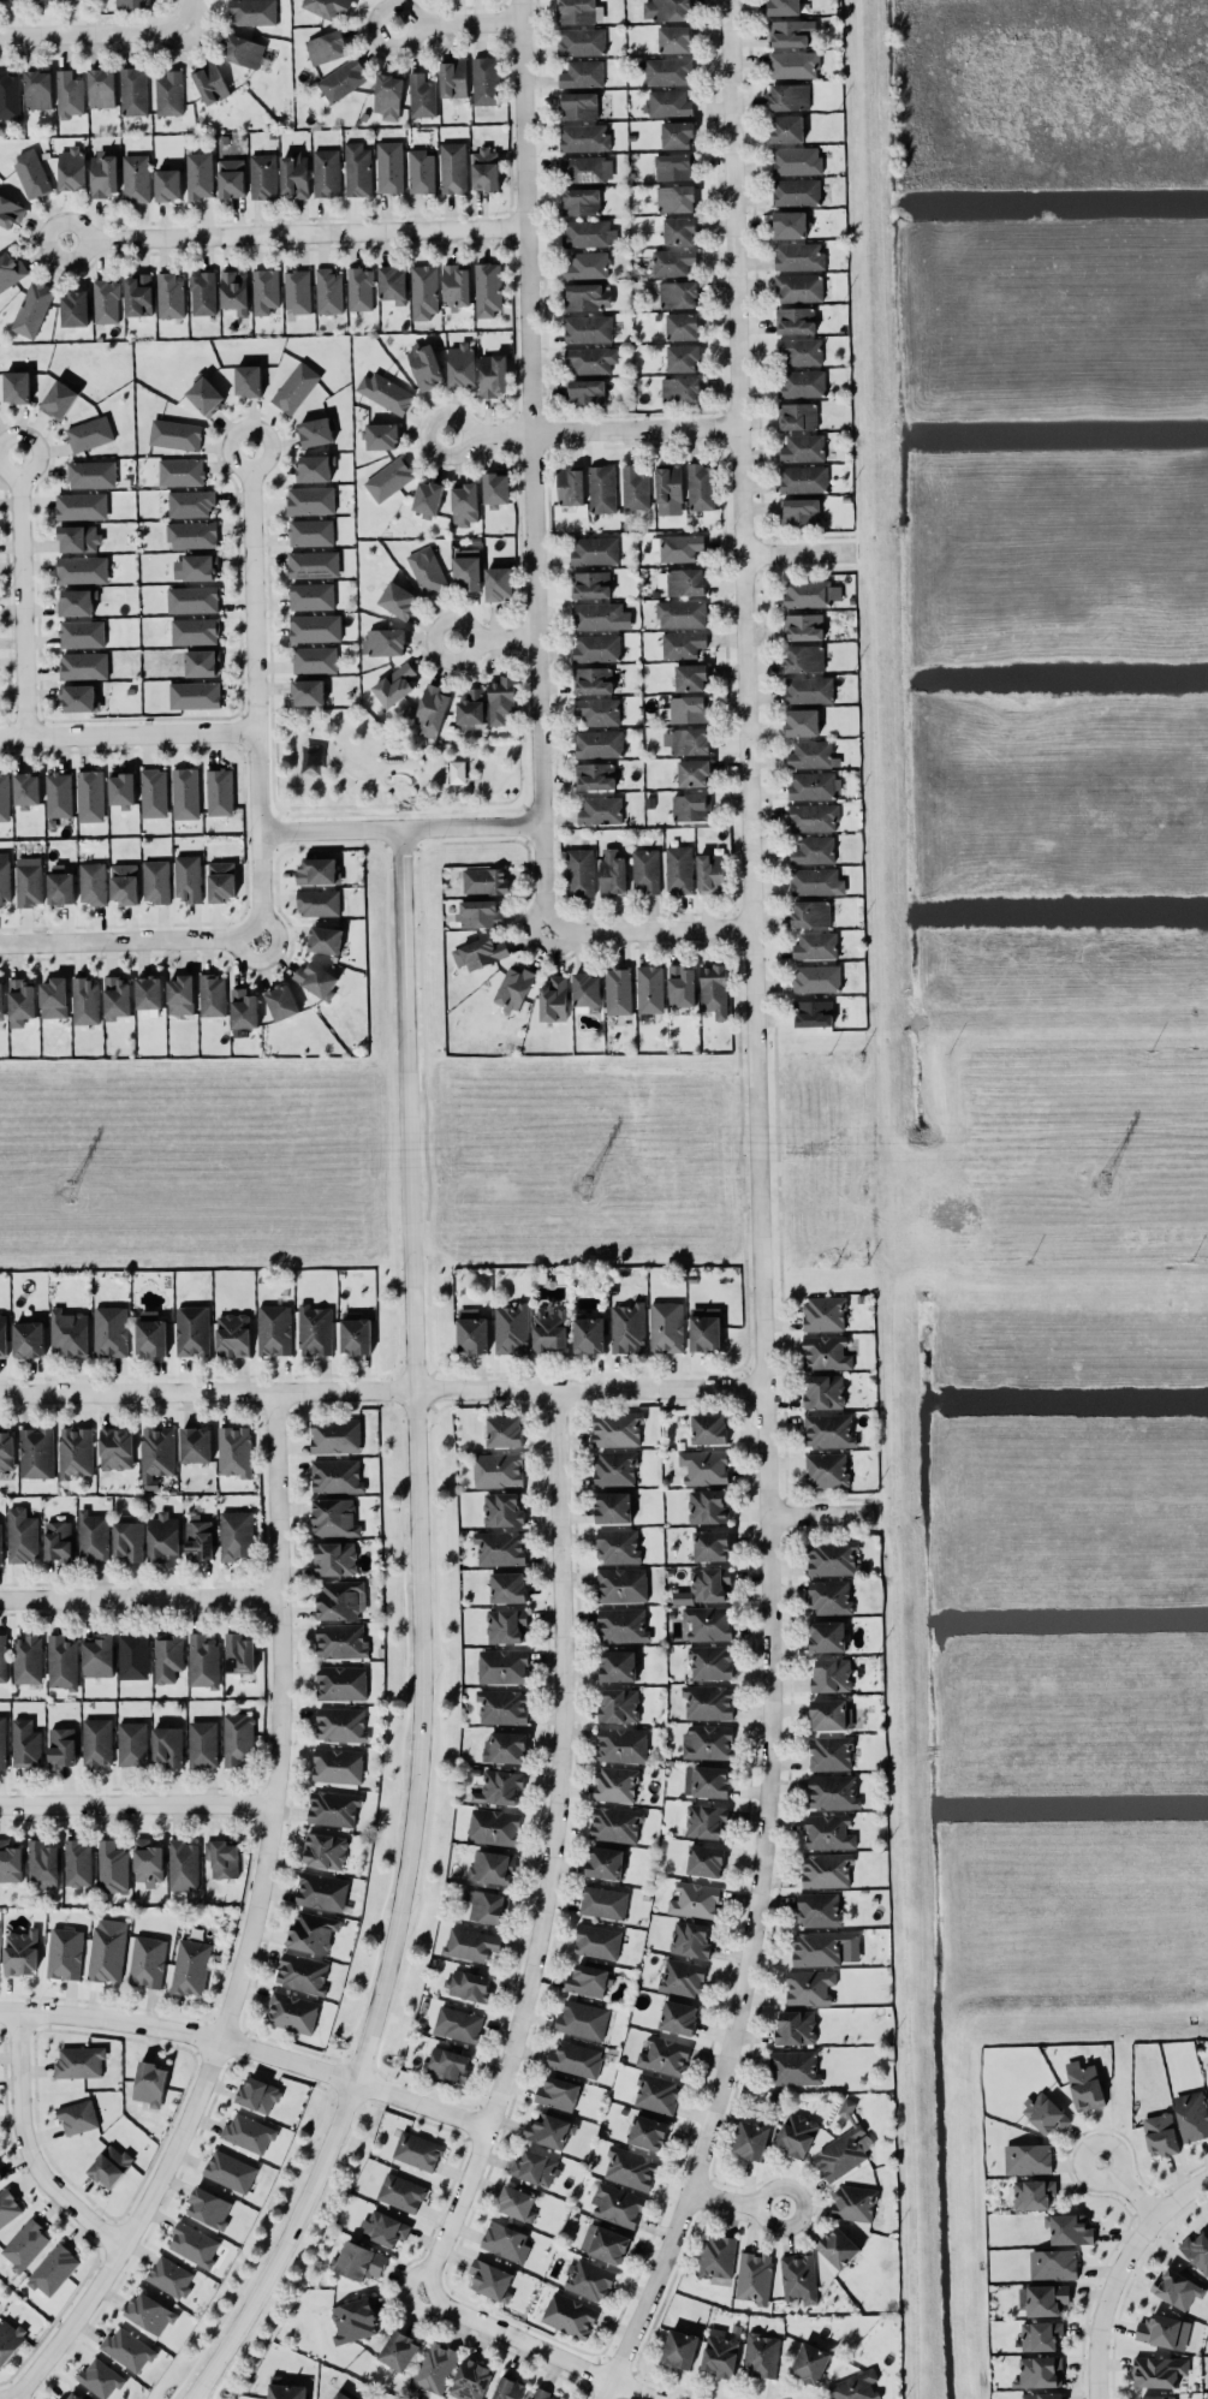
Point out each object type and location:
building: (133, 2)
building: (784, 6)
building: (328, 7)
building: (666, 10)
building: (252, 11)
building: (578, 11)
road: (189, 14)
road: (459, 20)
road: (95, 30)
building: (790, 31)
building: (674, 38)
building: (581, 41)
building: (327, 47)
building: (243, 49)
building: (793, 64)
building: (667, 70)
building: (582, 73)
building: (453, 77)
building: (343, 79)
building: (486, 79)
building: (210, 82)
building: (101, 87)
building: (37, 89)
building: (132, 90)
building: (168, 93)
building: (8, 94)
building: (69, 94)
building: (388, 95)
building: (422, 95)
building: (790, 96)
building: (668, 103)
building: (578, 105)
building: (787, 129)
building: (677, 133)
building: (584, 136)
building: (796, 160)
building: (389, 166)
building: (673, 166)
building: (71, 167)
building: (357, 167)
building: (453, 167)
building: (484, 168)
building: (588, 168)
building: (31, 172)
building: (326, 172)
building: (103, 173)
building: (198, 174)
building: (294, 174)
building: (262, 175)
building: (136, 177)
building: (231, 177)
building: (167, 184)
building: (796, 191)
building: (676, 197)
building: (581, 201)
building: (10, 212)
building: (789, 224)
building: (679, 230)
building: (588, 232)
road: (296, 233)
building: (798, 255)
building: (672, 261)
building: (587, 264)
building: (11, 269)
building: (393, 284)
building: (456, 285)
building: (799, 287)
building: (359, 288)
building: (487, 288)
building: (234, 290)
building: (264, 290)
building: (328, 290)
building: (297, 291)
building: (424, 291)
building: (203, 293)
building: (678, 293)
building: (138, 294)
building: (169, 294)
building: (587, 297)
building: (106, 300)
building: (32, 308)
building: (75, 308)
building: (795, 320)
building: (682, 325)
building: (587, 328)
building: (801, 350)
building: (683, 357)
building: (591, 358)
building: (460, 363)
building: (424, 365)
building: (493, 374)
building: (248, 380)
building: (801, 382)
building: (16, 386)
building: (294, 387)
building: (680, 389)
building: (385, 391)
building: (585, 392)
building: (206, 395)
building: (59, 398)
building: (797, 415)
road: (639, 427)
road: (494, 428)
building: (316, 430)
building: (89, 433)
building: (174, 433)
building: (381, 435)
building: (803, 447)
road: (535, 462)
building: (314, 466)
building: (180, 471)
building: (91, 474)
building: (389, 478)
building: (803, 478)
building: (668, 482)
building: (570, 486)
building: (700, 486)
building: (495, 487)
building: (635, 487)
building: (602, 488)
building: (427, 498)
building: (310, 499)
building: (190, 502)
building: (465, 504)
building: (81, 505)
building: (799, 511)
building: (310, 531)
building: (191, 534)
building: (78, 537)
road: (804, 542)
building: (678, 546)
building: (594, 549)
building: (313, 564)
building: (195, 567)
building: (82, 569)
building: (466, 569)
building: (427, 570)
building: (685, 581)
building: (498, 582)
building: (589, 583)
building: (810, 593)
road: (22, 594)
building: (311, 595)
building: (192, 599)
building: (398, 599)
building: (76, 601)
building: (680, 613)
building: (596, 615)
building: (803, 625)
building: (315, 627)
building: (195, 630)
building: (82, 633)
road: (495, 636)
building: (383, 641)
building: (683, 643)
building: (596, 647)
building: (804, 657)
building: (314, 659)
building: (202, 662)
building: (83, 665)
building: (690, 677)
building: (593, 679)
building: (394, 684)
road: (256, 689)
building: (809, 689)
building: (308, 691)
building: (195, 693)
building: (78, 697)
building: (501, 698)
building: (471, 708)
building: (685, 708)
building: (432, 709)
building: (597, 710)
building: (802, 721)
road: (127, 731)
road: (322, 737)
building: (686, 740)
building: (599, 743)
building: (813, 754)
park: (383, 762)
building: (457, 770)
building: (694, 772)
road: (418, 773)
building: (594, 775)
building: (813, 785)
building: (26, 787)
road: (482, 787)
building: (121, 788)
building: (220, 791)
building: (154, 792)
building: (185, 792)
building: (58, 793)
building: (90, 794)
building: (4, 797)
road: (411, 802)
building: (690, 806)
building: (600, 810)
building: (813, 816)
road: (400, 828)
building: (813, 850)
building: (678, 868)
building: (645, 869)
building: (317, 870)
building: (612, 870)
building: (579, 871)
building: (710, 871)
building: (188, 876)
building: (5, 877)
building: (28, 880)
building: (155, 880)
building: (221, 880)
building: (484, 880)
building: (816, 881)
building: (93, 882)
building: (124, 882)
building: (60, 887)
building: (317, 901)
building: (480, 912)
building: (810, 912)
road: (650, 921)
road: (130, 937)
building: (325, 939)
building: (815, 945)
building: (480, 952)
building: (817, 977)
building: (316, 978)
building: (682, 984)
building: (513, 987)
building: (650, 988)
building: (587, 989)
building: (618, 989)
building: (714, 989)
building: (180, 994)
building: (212, 994)
building: (148, 995)
building: (54, 996)
building: (117, 996)
building: (553, 999)
building: (1, 1000)
building: (85, 1000)
building: (20, 1001)
building: (281, 1001)
building: (244, 1007)
building: (813, 1012)
power tower: (1103, 1184)
power tower: (70, 1190)
power tower: (588, 1190)
road: (766, 1212)
building: (825, 1312)
building: (666, 1326)
building: (549, 1327)
building: (627, 1327)
building: (274, 1328)
building: (511, 1328)
building: (704, 1328)
building: (192, 1329)
building: (314, 1329)
building: (109, 1331)
building: (471, 1331)
building: (69, 1332)
building: (150, 1333)
building: (233, 1333)
building: (2, 1334)
building: (588, 1334)
building: (356, 1335)
building: (28, 1338)
building: (826, 1352)
road: (387, 1392)
building: (825, 1392)
building: (617, 1428)
building: (709, 1428)
building: (828, 1429)
building: (504, 1430)
building: (335, 1434)
building: (195, 1443)
building: (115, 1447)
building: (6, 1449)
building: (234, 1449)
building: (75, 1451)
building: (36, 1452)
building: (155, 1454)
building: (704, 1465)
building: (614, 1468)
building: (498, 1469)
building: (826, 1469)
building: (335, 1475)
building: (612, 1506)
building: (707, 1506)
building: (502, 1508)
road: (827, 1514)
building: (334, 1517)
building: (236, 1534)
building: (22, 1535)
building: (91, 1535)
building: (162, 1536)
building: (56, 1538)
building: (198, 1538)
building: (0, 1540)
building: (127, 1540)
building: (617, 1544)
building: (710, 1544)
building: (500, 1547)
building: (334, 1558)
building: (832, 1558)
building: (709, 1583)
building: (621, 1584)
building: (507, 1585)
building: (829, 1596)
road: (141, 1599)
building: (339, 1599)
building: (708, 1621)
building: (506, 1625)
building: (621, 1625)
building: (827, 1635)
road: (426, 1638)
building: (340, 1639)
building: (238, 1653)
building: (97, 1654)
building: (132, 1655)
building: (2, 1656)
building: (167, 1656)
building: (26, 1659)
building: (202, 1660)
building: (61, 1661)
building: (710, 1662)
building: (618, 1665)
building: (502, 1666)
building: (832, 1674)
building: (340, 1681)
building: (708, 1702)
building: (619, 1704)
building: (502, 1706)
building: (340, 1724)
building: (238, 1738)
building: (708, 1740)
building: (2, 1742)
building: (96, 1742)
building: (25, 1743)
building: (131, 1743)
building: (202, 1743)
building: (167, 1744)
building: (621, 1744)
building: (61, 1746)
building: (505, 1746)
building: (831, 1752)
building: (337, 1764)
building: (707, 1780)
building: (614, 1784)
building: (832, 1791)
road: (138, 1803)
building: (333, 1806)
building: (706, 1820)
building: (615, 1823)
building: (493, 1826)
building: (829, 1830)
building: (325, 1850)
road: (557, 1852)
building: (221, 1857)
building: (704, 1859)
building: (10, 1861)
building: (77, 1861)
building: (42, 1862)
building: (147, 1862)
building: (603, 1862)
building: (183, 1864)
building: (492, 1865)
building: (112, 1867)
building: (826, 1869)
building: (321, 1891)
building: (695, 1899)
building: (603, 1901)
building: (484, 1904)
building: (819, 1909)
road: (255, 1927)
building: (311, 1931)
building: (690, 1939)
building: (597, 1940)
building: (471, 1942)
building: (825, 1947)
building: (107, 1948)
building: (20, 1952)
building: (64, 1952)
building: (147, 1960)
building: (190, 1966)
building: (302, 1972)
building: (682, 1976)
building: (587, 1980)
building: (466, 1983)
building: (809, 1986)
building: (291, 2011)
building: (678, 2016)
building: (582, 2019)
building: (458, 2023)
building: (796, 2026)
road: (252, 2048)
building: (663, 2054)
building: (575, 2058)
building: (79, 2061)
building: (448, 2062)
building: (793, 2066)
building: (1207, 2080)
building: (150, 2083)
building: (1084, 2084)
building: (557, 2093)
building: (655, 2093)
building: (258, 2094)
building: (1045, 2112)
building: (1191, 2114)
building: (77, 2115)
building: (548, 2129)
building: (648, 2131)
building: (248, 2132)
building: (796, 2133)
building: (1160, 2133)
building: (751, 2138)
road: (32, 2147)
building: (841, 2148)
building: (417, 2149)
building: (1028, 2157)
building: (109, 2165)
building: (535, 2167)
building: (630, 2167)
building: (230, 2169)
building: (0, 2179)
road: (1129, 2187)
building: (400, 2191)
building: (1033, 2192)
road: (739, 2197)
building: (517, 2202)
building: (853, 2202)
building: (618, 2204)
building: (7, 2205)
building: (209, 2207)
building: (385, 2227)
building: (1069, 2228)
building: (505, 2240)
building: (194, 2243)
building: (605, 2243)
building: (24, 2244)
building: (838, 2246)
building: (1196, 2251)
building: (716, 2255)
building: (359, 2261)
building: (1053, 2263)
building: (53, 2269)
road: (1118, 2270)
building: (169, 2275)
building: (754, 2276)
building: (798, 2276)
building: (490, 2279)
building: (590, 2279)
building: (1177, 2287)
building: (1047, 2299)
building: (149, 2312)
building: (569, 2314)
building: (353, 2320)
building: (1164, 2330)
building: (1040, 2334)
building: (8, 2339)
road: (553, 2347)
building: (679, 2347)
building: (127, 2349)
building: (398, 2350)
building: (720, 2352)
building: (761, 2355)
building: (810, 2362)
building: (434, 2367)
building: (1158, 2370)
building: (1039, 2371)
building: (100, 2377)
building: (470, 2379)
building: (855, 2386)
building: (285, 2388)
building: (507, 2388)
building: (344, 2394)
building: (542, 2394)
building: (71, 2395)
building: (1041, 2395)
building: (1158, 2397)

